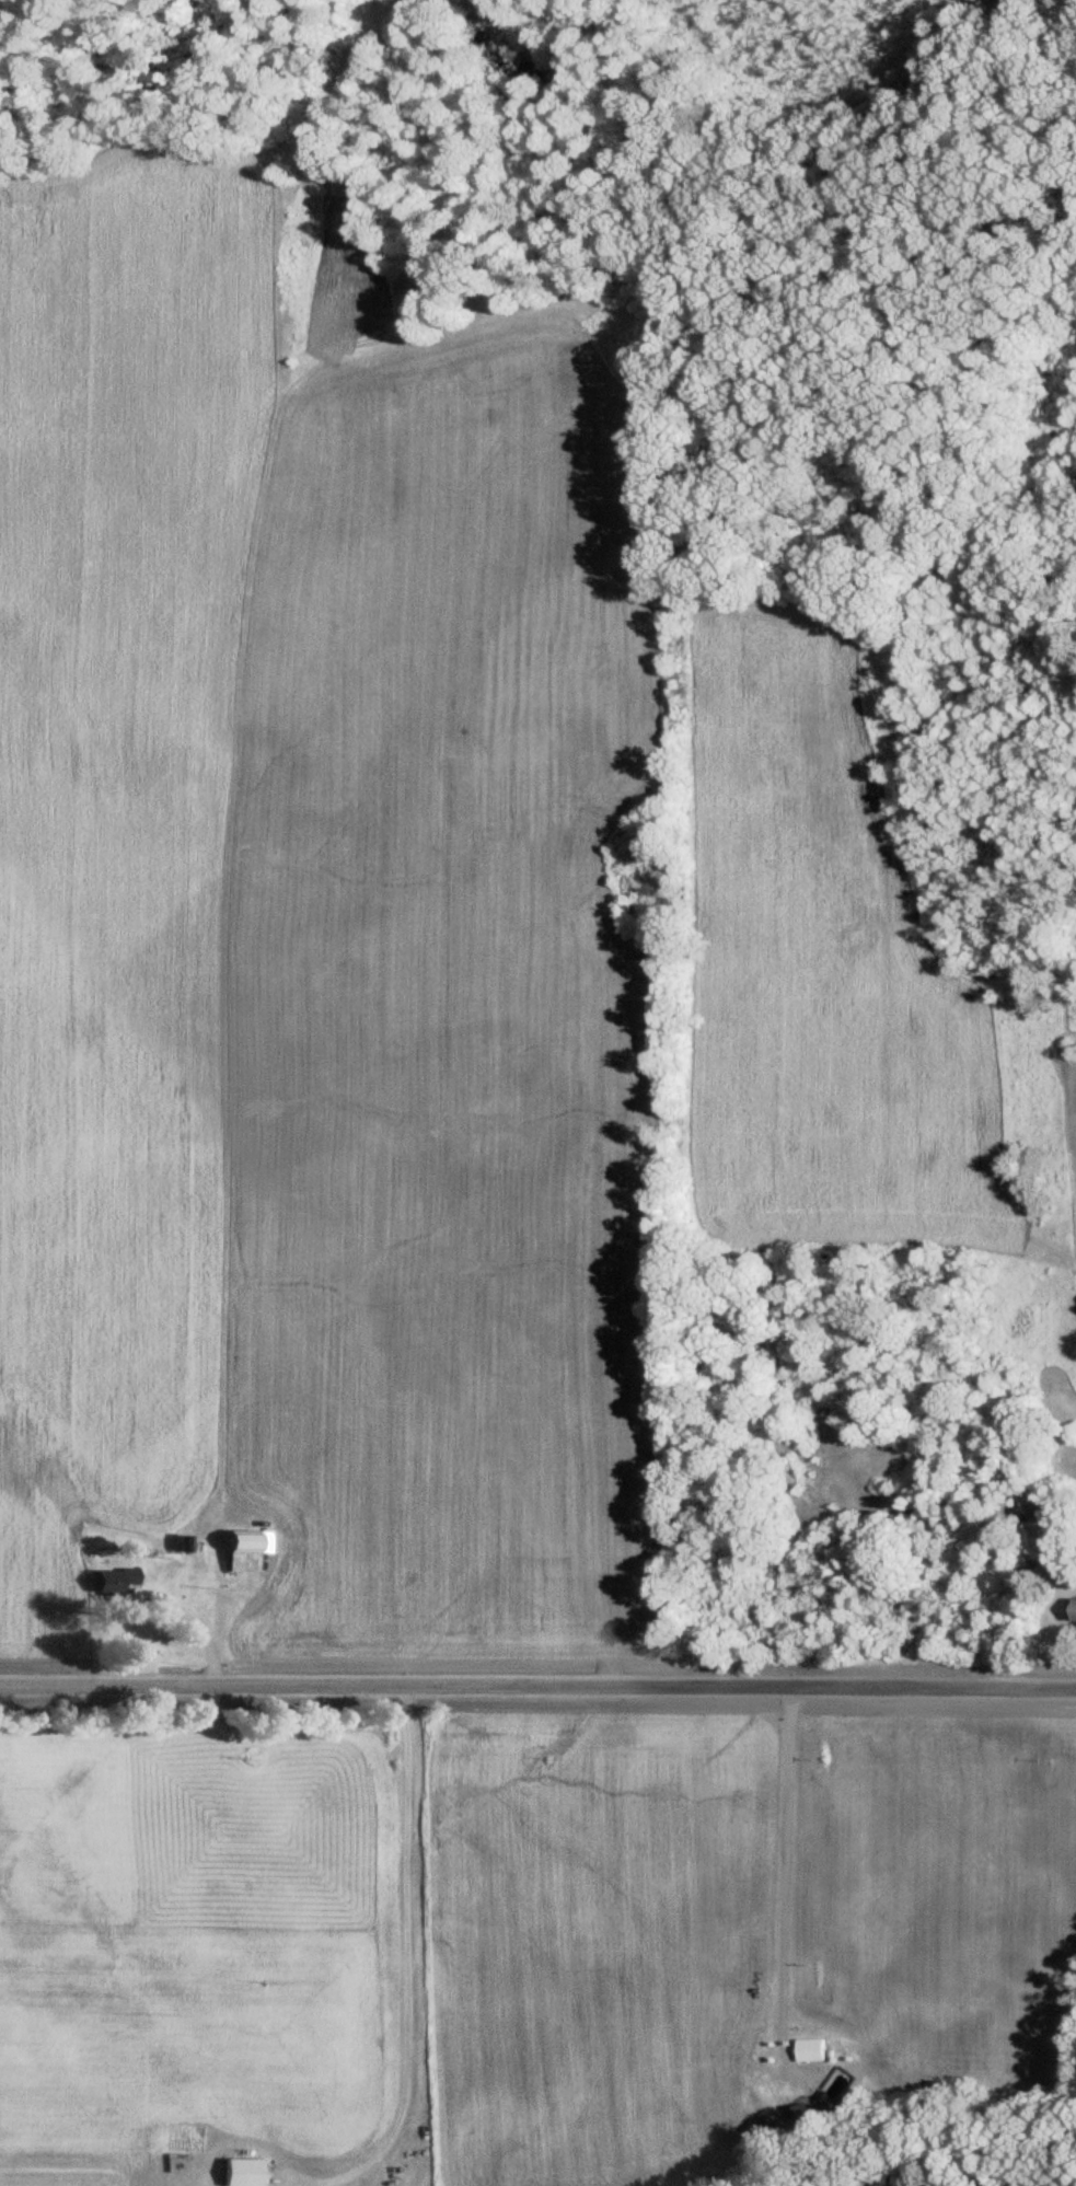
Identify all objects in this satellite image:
building: (178, 1545)
building: (238, 1551)
building: (114, 1581)
building: (1071, 1609)
road: (171, 1636)
road: (537, 1682)
road: (785, 1854)
road: (405, 1970)
building: (812, 2049)
building: (832, 2087)
building: (239, 2172)

